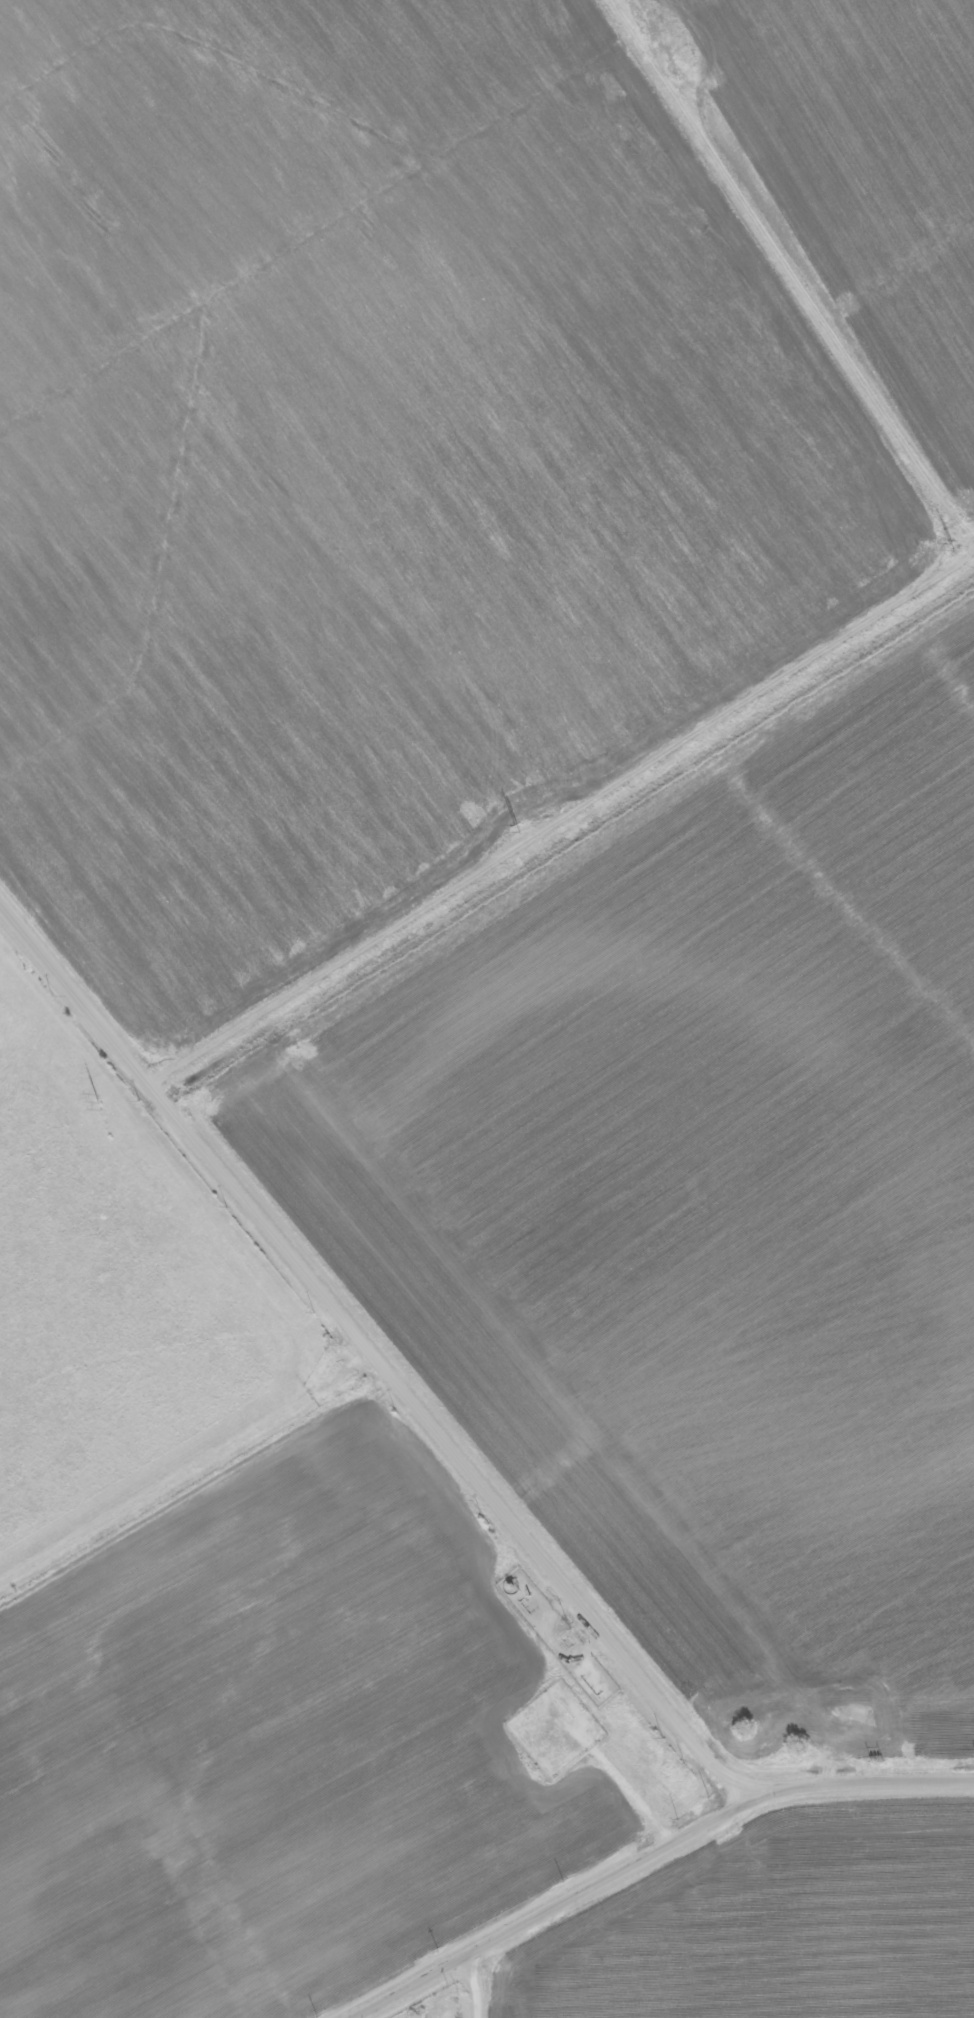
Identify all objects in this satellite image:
power tower: (951, 549)
power tower: (519, 829)
power tower: (147, 1064)
road: (373, 1350)
road: (648, 1853)
road: (451, 1994)

